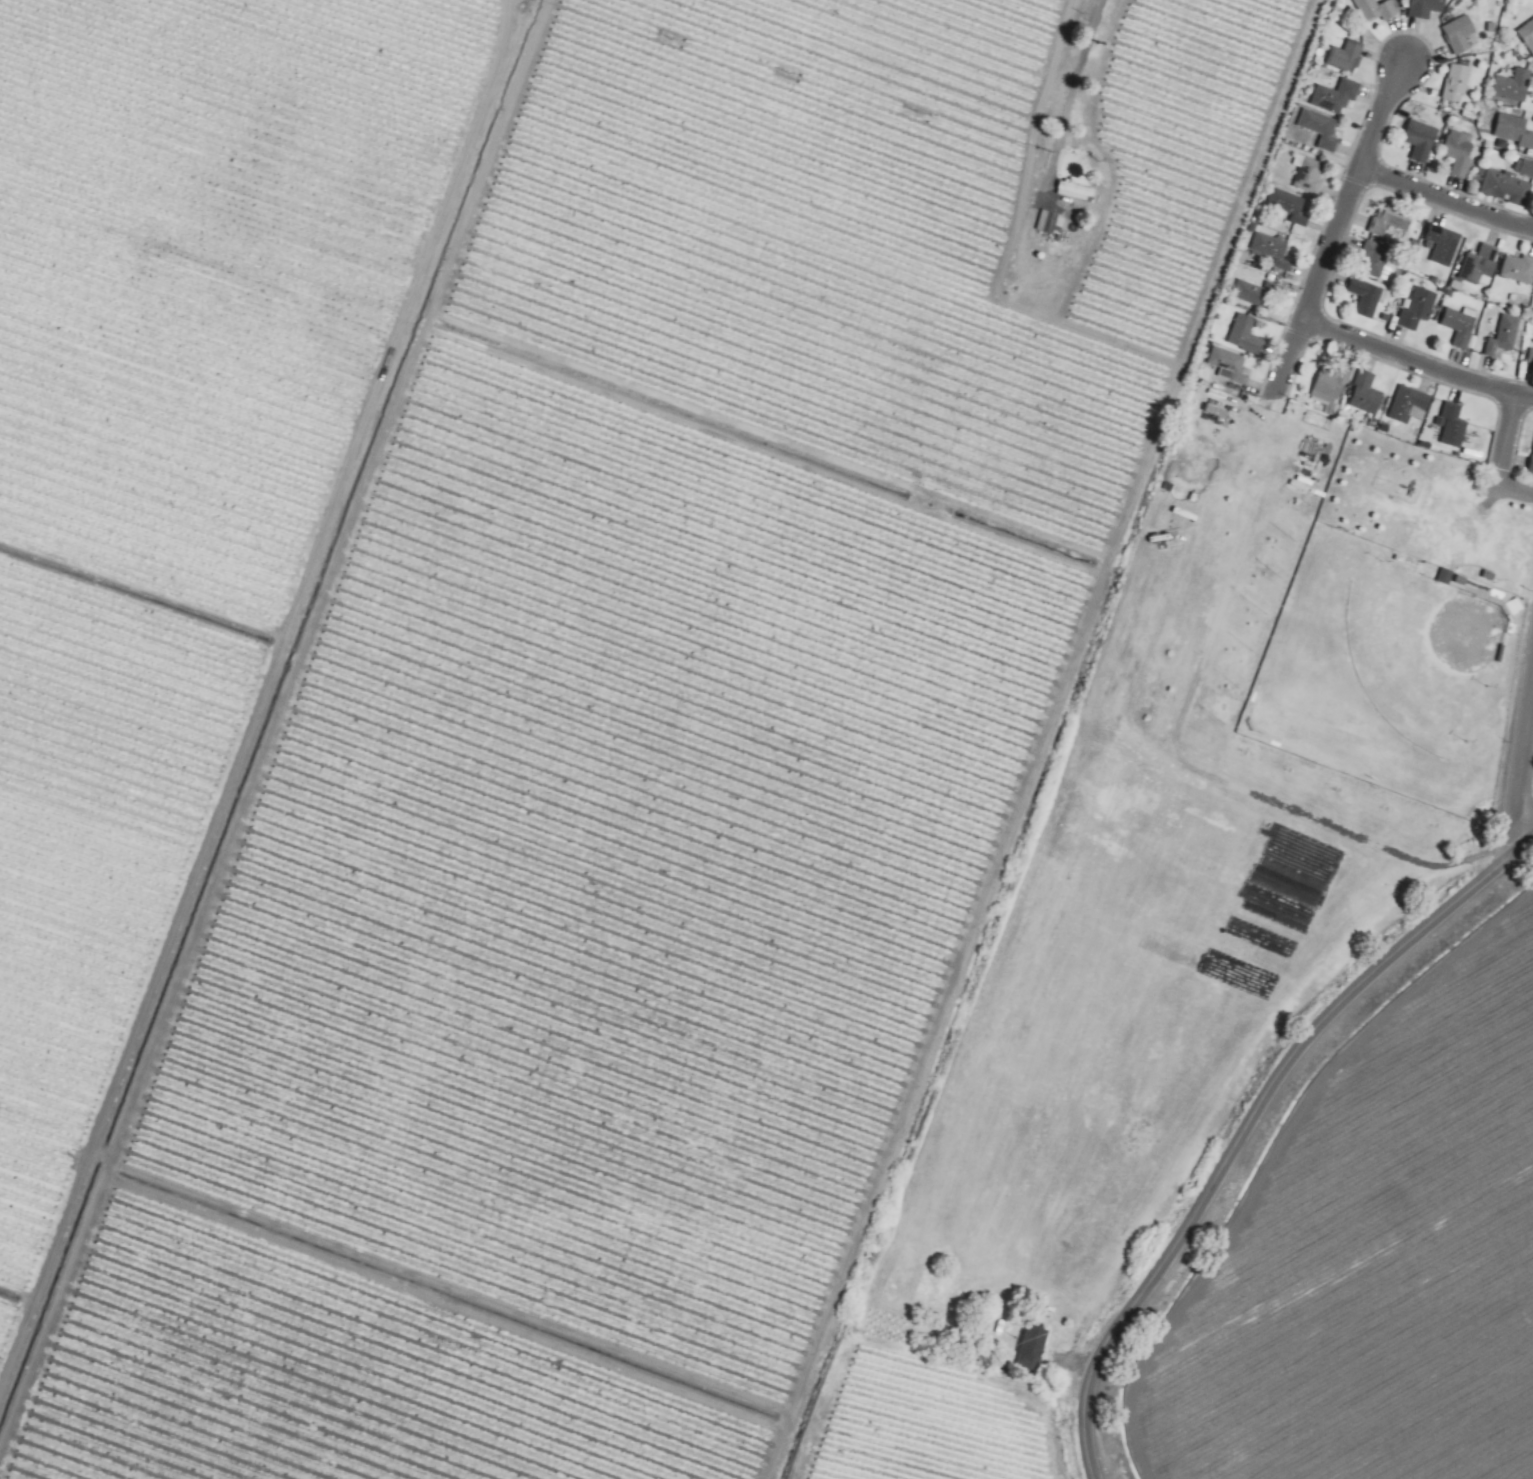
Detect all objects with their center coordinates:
building: (1429, 8)
building: (1380, 9)
building: (1528, 33)
building: (1463, 34)
building: (1349, 56)
building: (1461, 83)
building: (1516, 85)
building: (1339, 95)
road: (1076, 100)
building: (1323, 127)
building: (1516, 129)
building: (1423, 140)
building: (1463, 150)
building: (1523, 168)
building: (1314, 174)
building: (1509, 188)
building: (1074, 192)
road: (1448, 198)
building: (1288, 204)
building: (1048, 222)
building: (1394, 223)
road: (1339, 231)
building: (1446, 244)
building: (1275, 250)
building: (1376, 260)
building: (1482, 264)
building: (1520, 269)
building: (1257, 295)
building: (1368, 296)
building: (1420, 309)
building: (1462, 327)
building: (1248, 335)
building: (1507, 337)
building: (1532, 358)
road: (1417, 362)
building: (1232, 366)
building: (1335, 384)
building: (1368, 394)
building: (1410, 404)
building: (1456, 425)
road: (1508, 438)
building: (1532, 469)
road: (1515, 488)
building: (1443, 577)
park: (1402, 622)
road: (1528, 722)
crop: (705, 772)
road: (1516, 805)
road: (1521, 847)
park: (1136, 938)
road: (1239, 1133)
road: (1278, 1158)
building: (1036, 1349)

